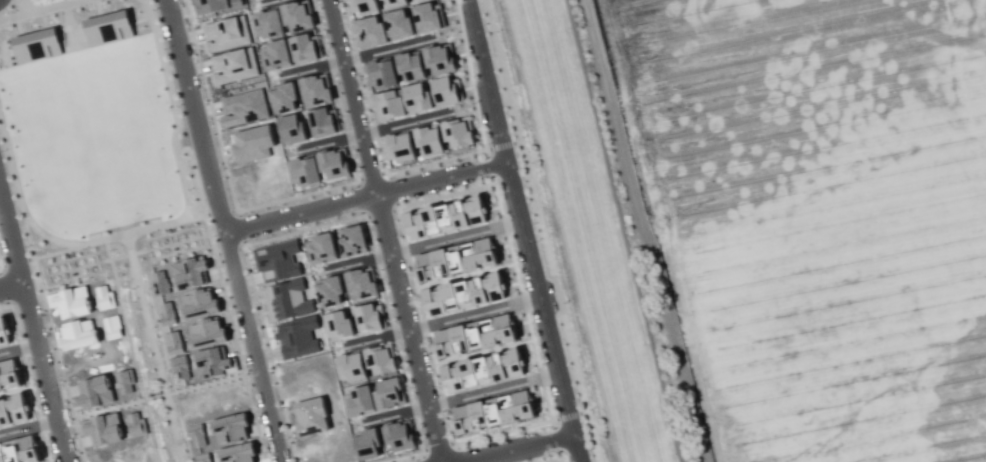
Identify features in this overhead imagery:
building: (379, 0)
building: (414, 0)
road: (266, 1)
road: (64, 2)
building: (395, 3)
park: (24, 5)
building: (214, 5)
road: (27, 6)
building: (362, 6)
road: (40, 10)
building: (298, 16)
building: (428, 17)
building: (267, 23)
building: (398, 24)
building: (107, 28)
street lamp: (497, 30)
building: (370, 32)
building: (225, 34)
building: (36, 46)
street lamp: (165, 48)
building: (305, 48)
road: (386, 49)
building: (275, 55)
building: (440, 59)
building: (233, 66)
building: (410, 66)
road: (311, 67)
building: (380, 73)
building: (316, 89)
building: (447, 91)
road: (352, 97)
building: (284, 98)
building: (416, 98)
street lamp: (473, 103)
building: (387, 105)
street lamp: (177, 106)
building: (244, 107)
building: (323, 121)
street lamp: (367, 121)
road: (404, 122)
building: (291, 129)
building: (457, 132)
street lamp: (523, 136)
building: (428, 140)
road: (329, 141)
building: (399, 147)
building: (319, 168)
street lamp: (221, 170)
park: (103, 172)
street lamp: (482, 177)
street lamp: (189, 189)
road: (365, 197)
road: (219, 212)
road: (195, 216)
crop: (816, 216)
building: (445, 218)
road: (159, 224)
road: (241, 227)
road: (223, 230)
street lamp: (154, 231)
road: (523, 231)
road: (541, 231)
road: (455, 237)
street lamp: (246, 239)
building: (353, 241)
street lamp: (537, 241)
street lamp: (84, 248)
building: (321, 249)
road: (227, 251)
building: (454, 258)
building: (277, 261)
road: (358, 262)
street lamp: (381, 268)
building: (362, 283)
road: (10, 286)
building: (330, 292)
building: (464, 294)
building: (287, 300)
street lamp: (564, 302)
road: (473, 313)
building: (370, 317)
building: (337, 325)
road: (407, 328)
road: (33, 329)
building: (4, 334)
building: (474, 335)
road: (376, 336)
building: (298, 337)
road: (234, 338)
street lamp: (239, 338)
road: (52, 339)
road: (153, 348)
road: (18, 349)
road: (132, 350)
building: (380, 359)
street lamp: (543, 363)
building: (352, 367)
building: (482, 370)
building: (9, 376)
street lamp: (435, 385)
road: (492, 389)
building: (388, 393)
road: (157, 396)
building: (360, 401)
street lamp: (590, 408)
building: (492, 411)
building: (13, 412)
road: (394, 414)
road: (28, 427)
building: (399, 436)
street lamp: (285, 438)
building: (367, 444)
road: (519, 448)
building: (19, 450)
street lamp: (549, 451)
road: (560, 457)
street lamp: (418, 458)
road: (561, 460)

